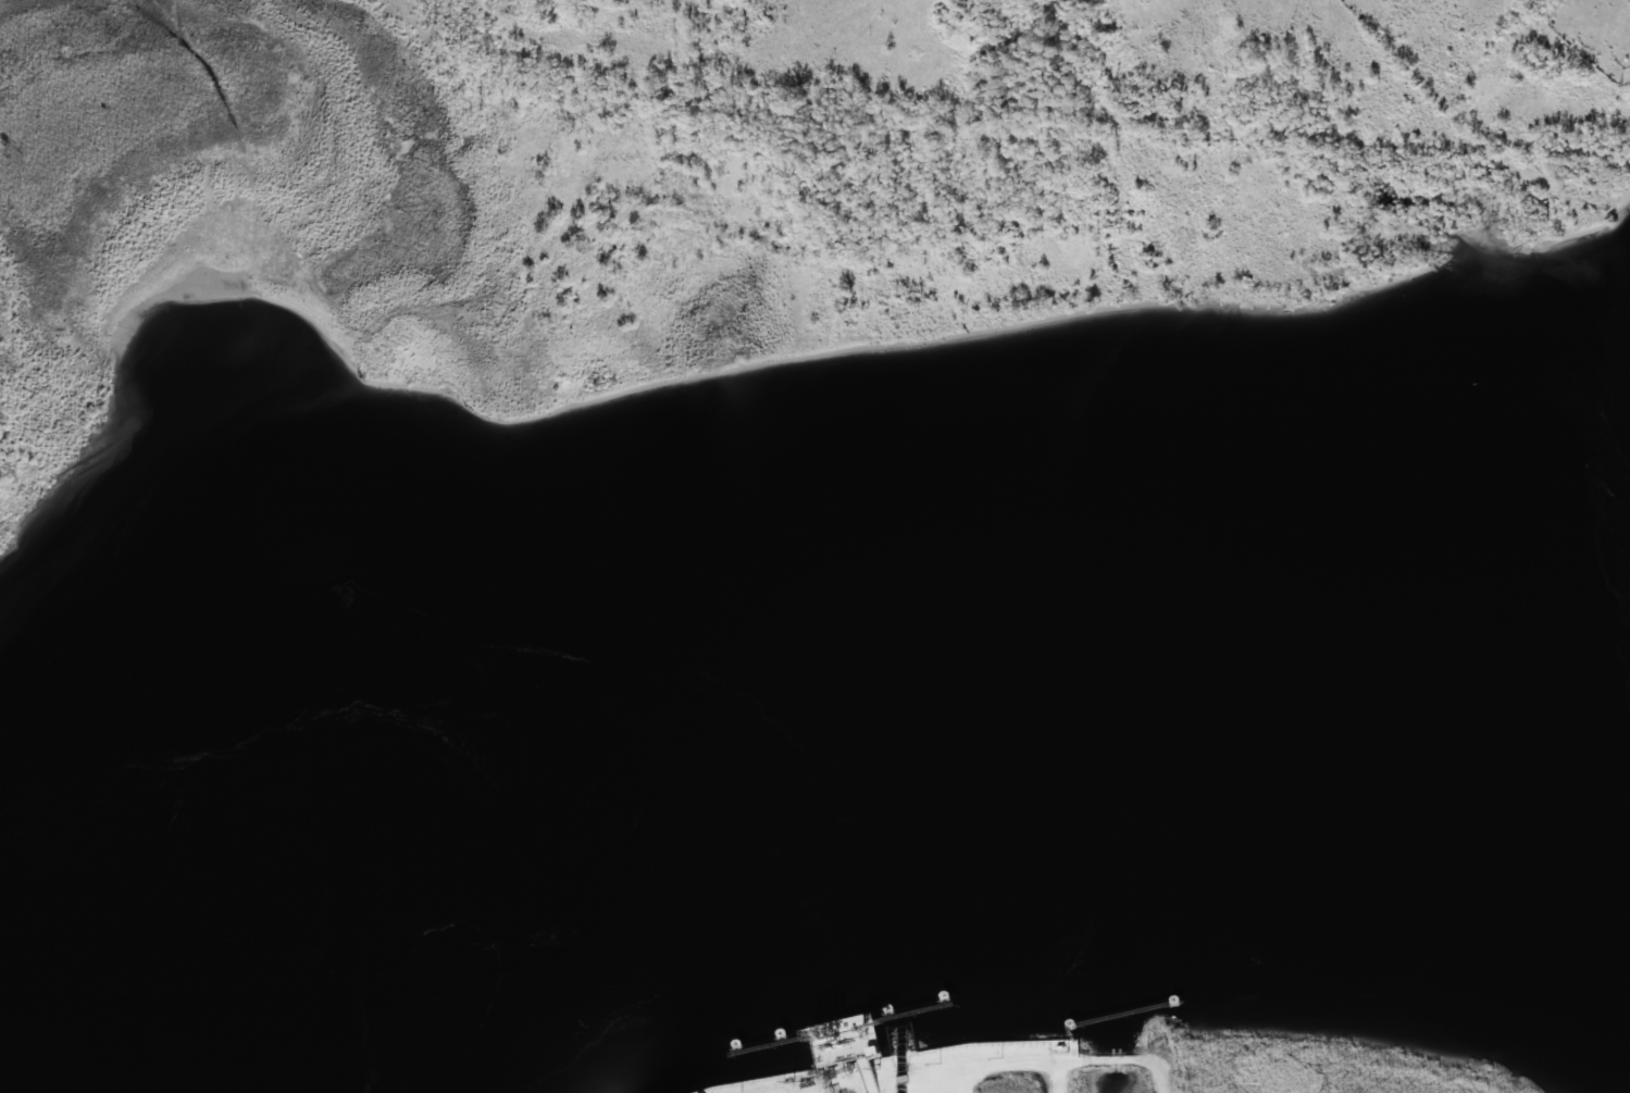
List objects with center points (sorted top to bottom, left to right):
river: (818, 755)
road: (1036, 1063)
road: (866, 1092)
road: (874, 1092)

